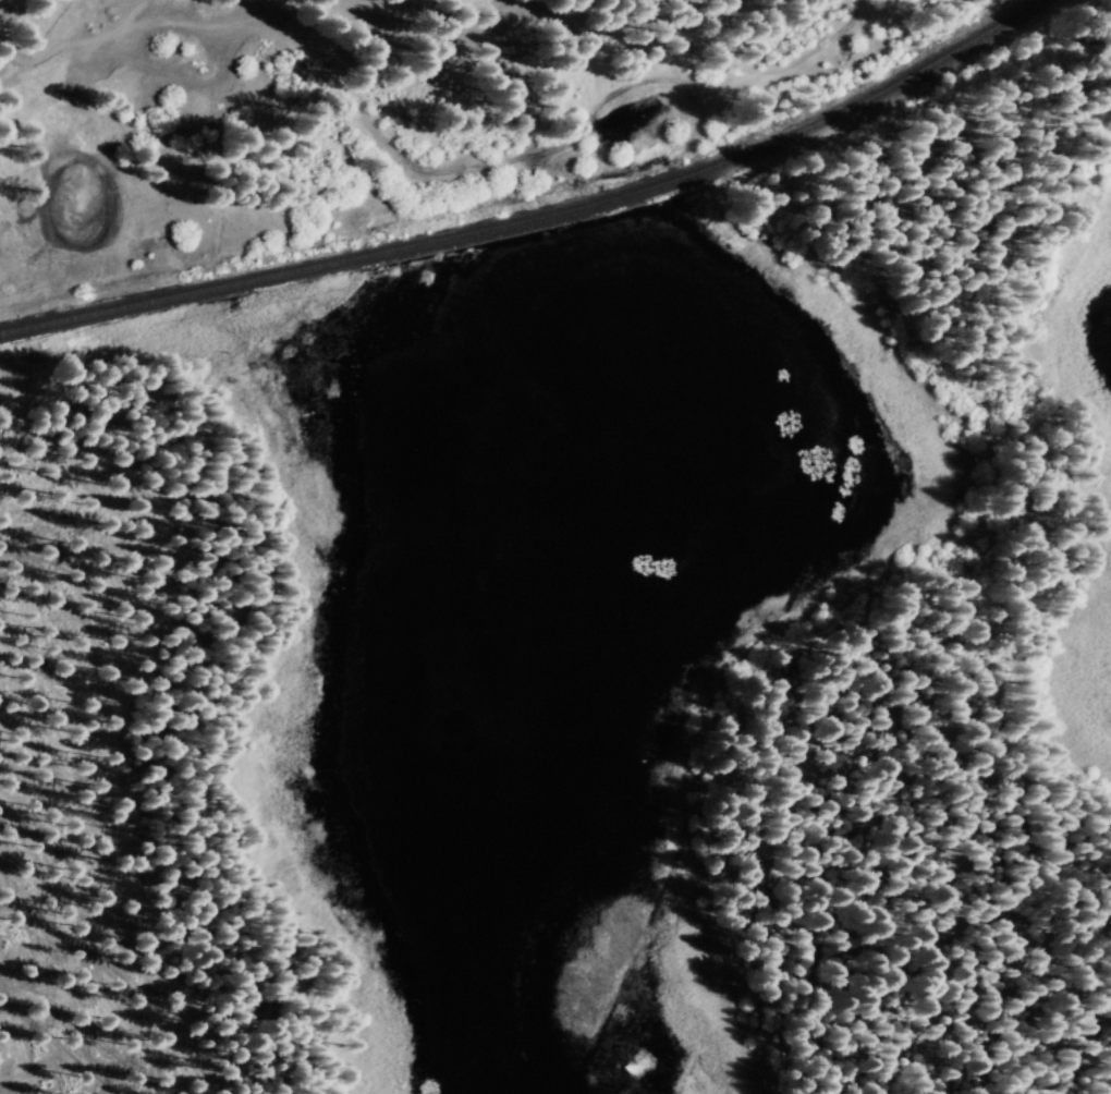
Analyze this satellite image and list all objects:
railway: (540, 216)

